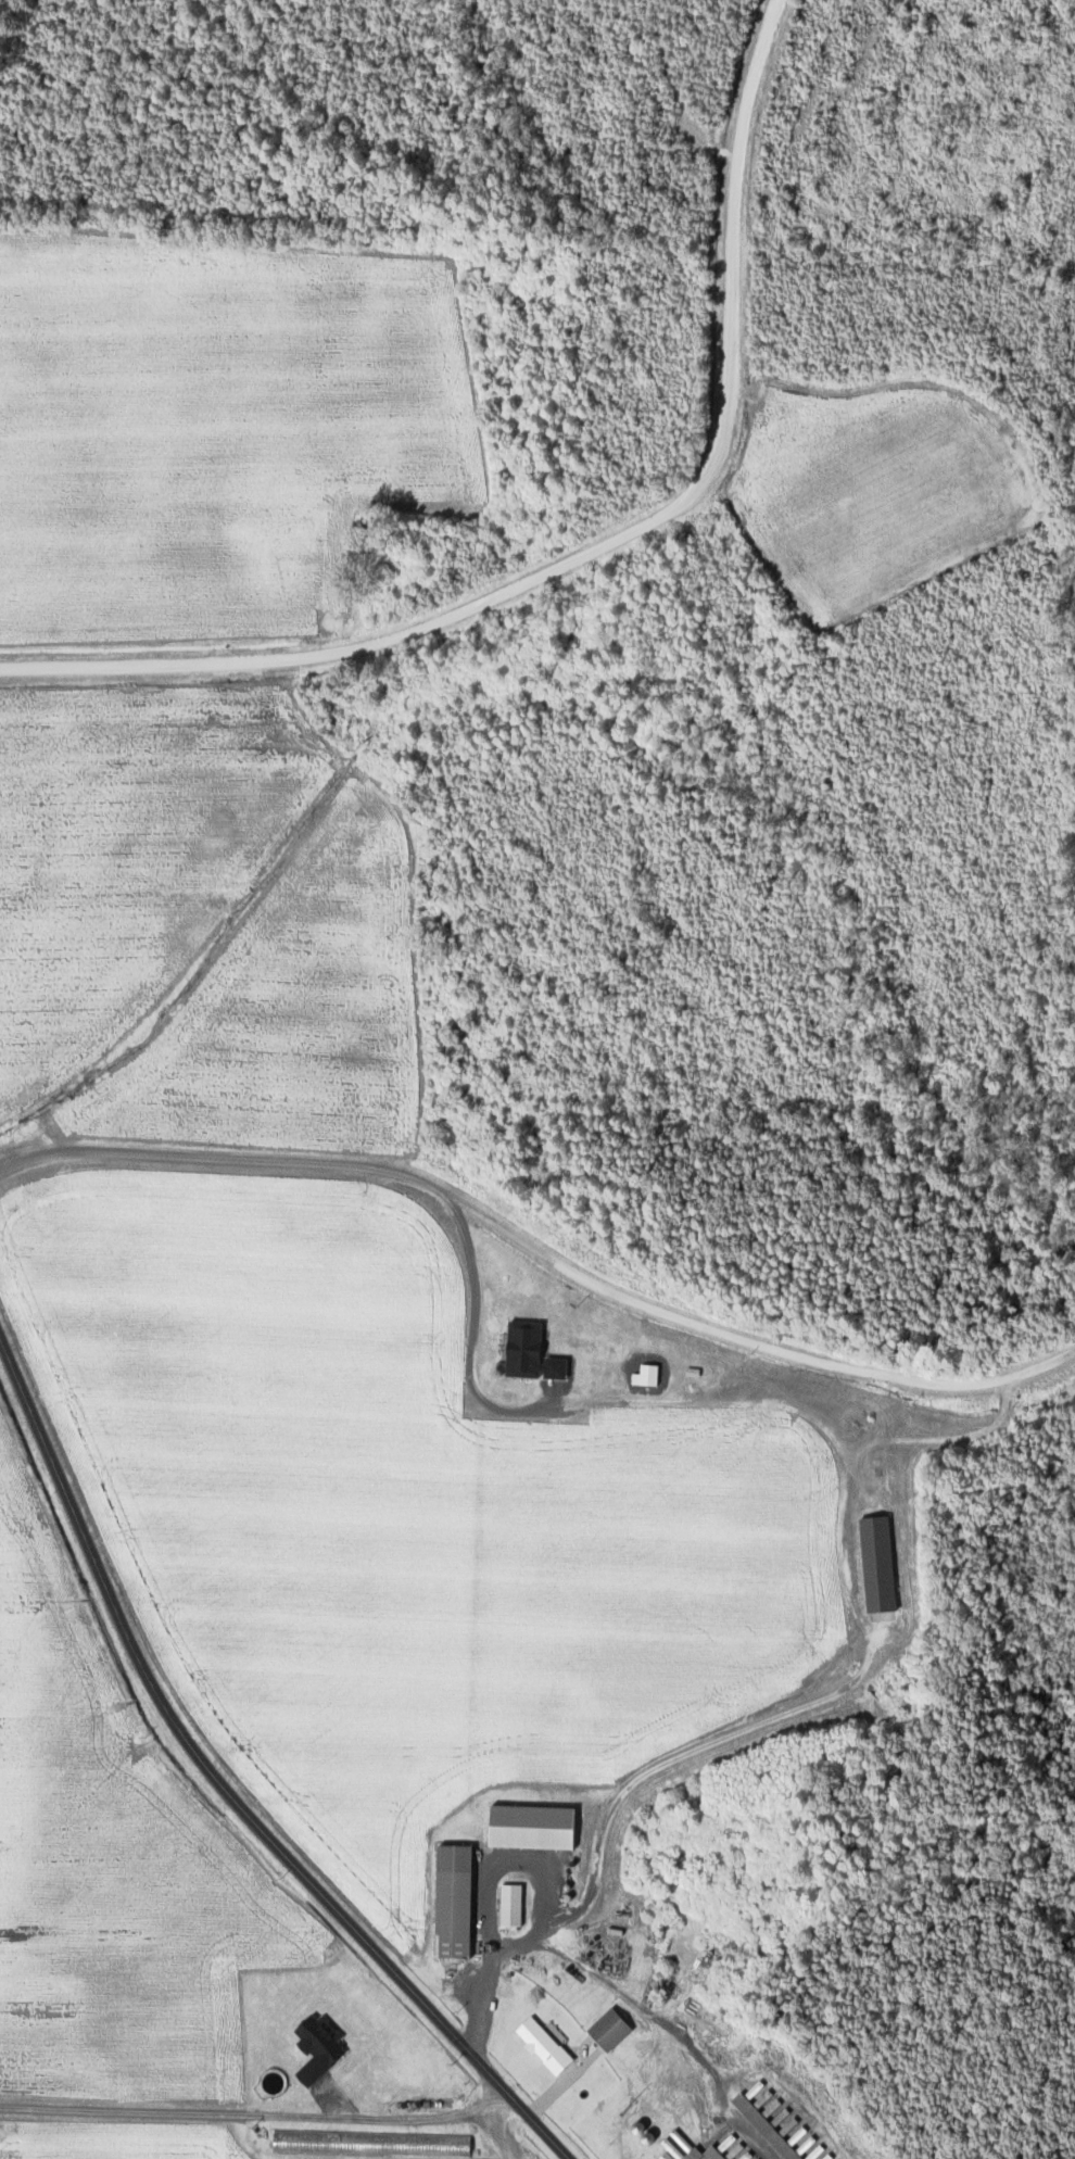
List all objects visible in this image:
road: (594, 543)
building: (528, 1353)
building: (875, 1564)
road: (228, 1782)
building: (530, 1825)
building: (451, 1899)
building: (607, 2028)
building: (541, 2044)
building: (315, 2046)
road: (260, 2114)
building: (775, 2122)
building: (435, 2143)
building: (676, 2146)
building: (711, 2152)

